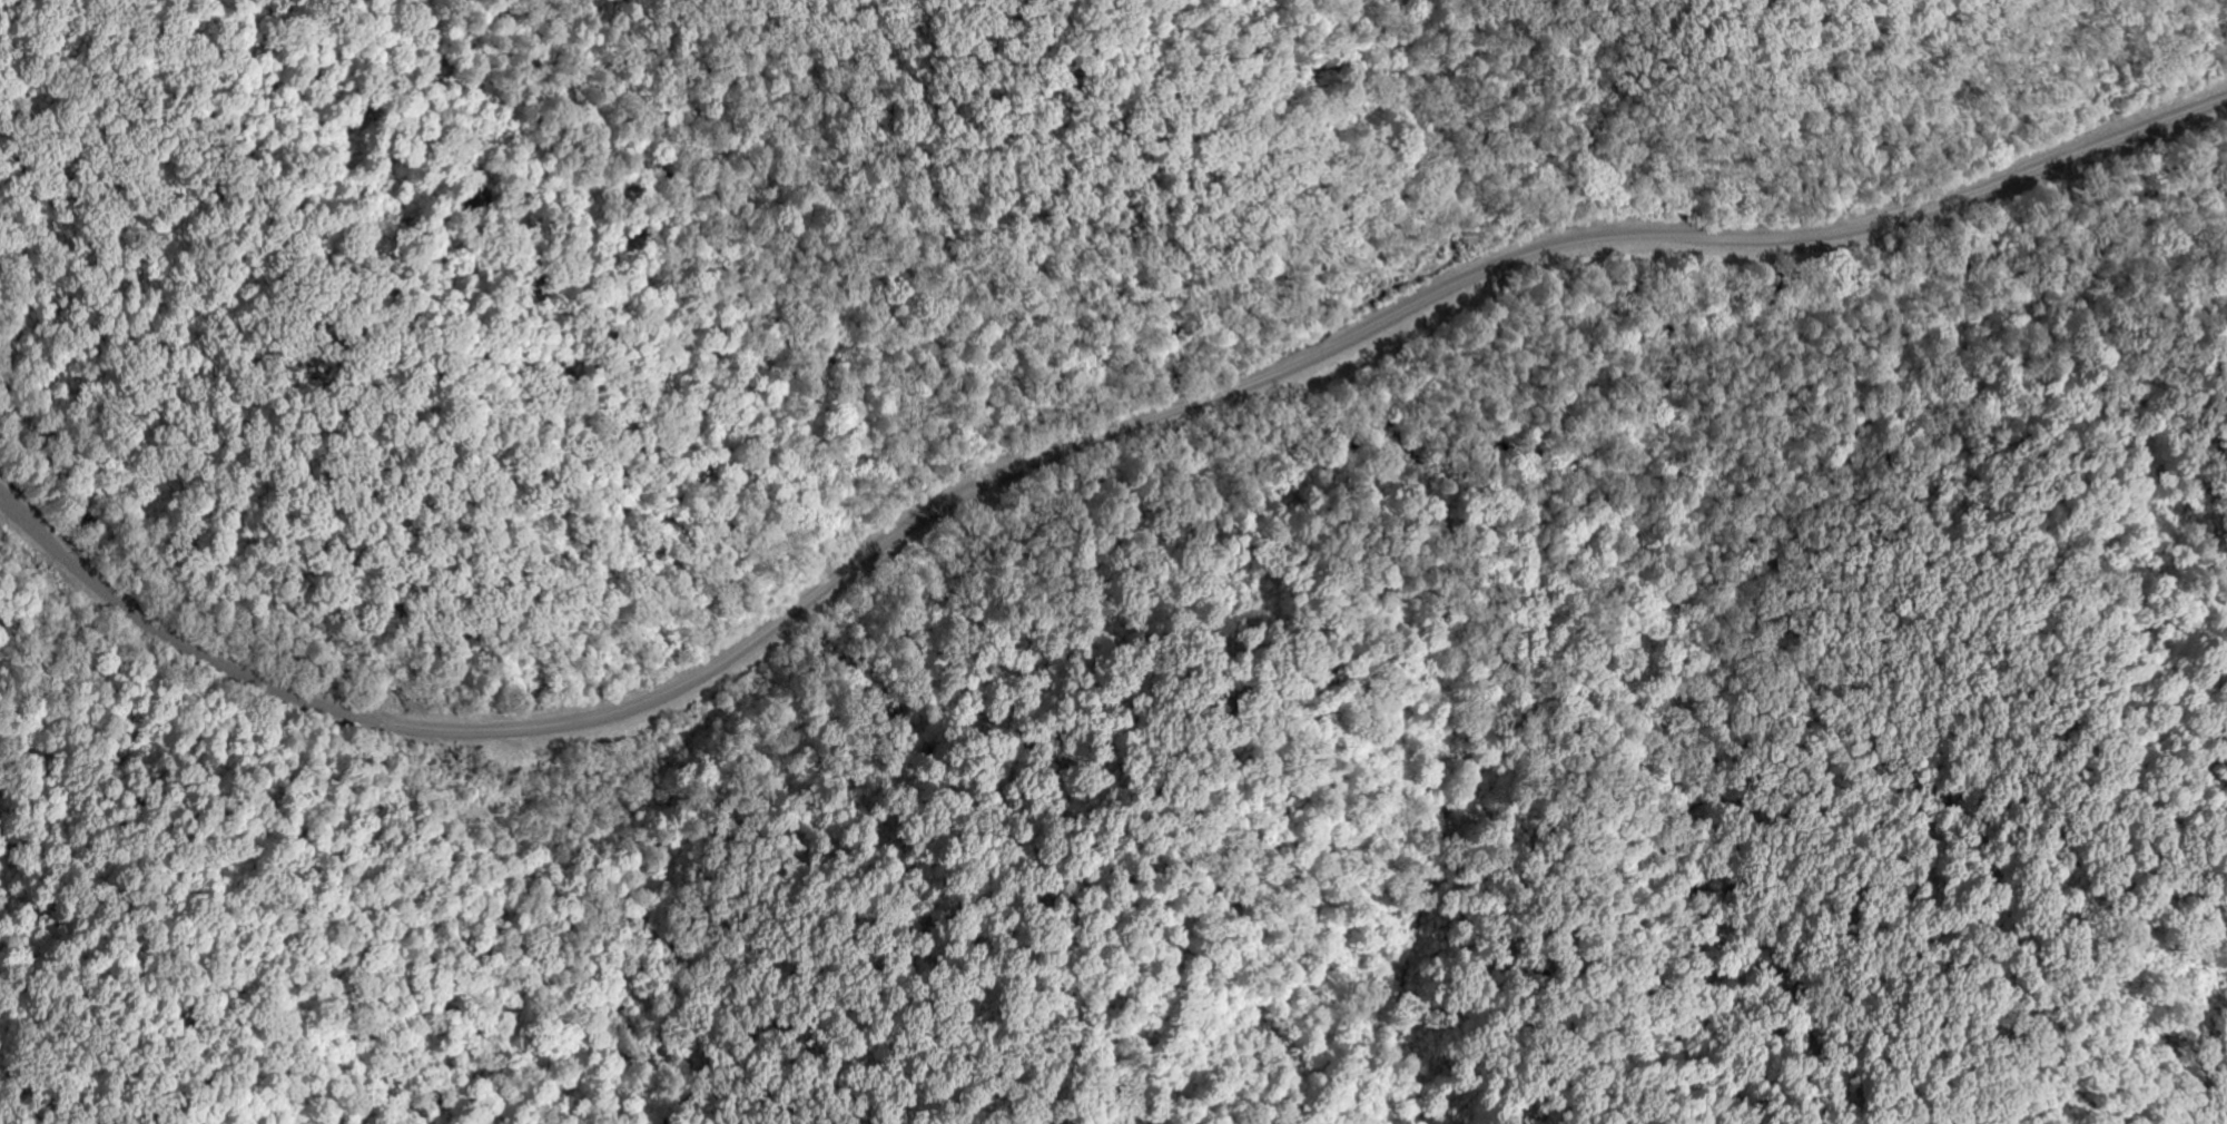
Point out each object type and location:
road: (1074, 443)

